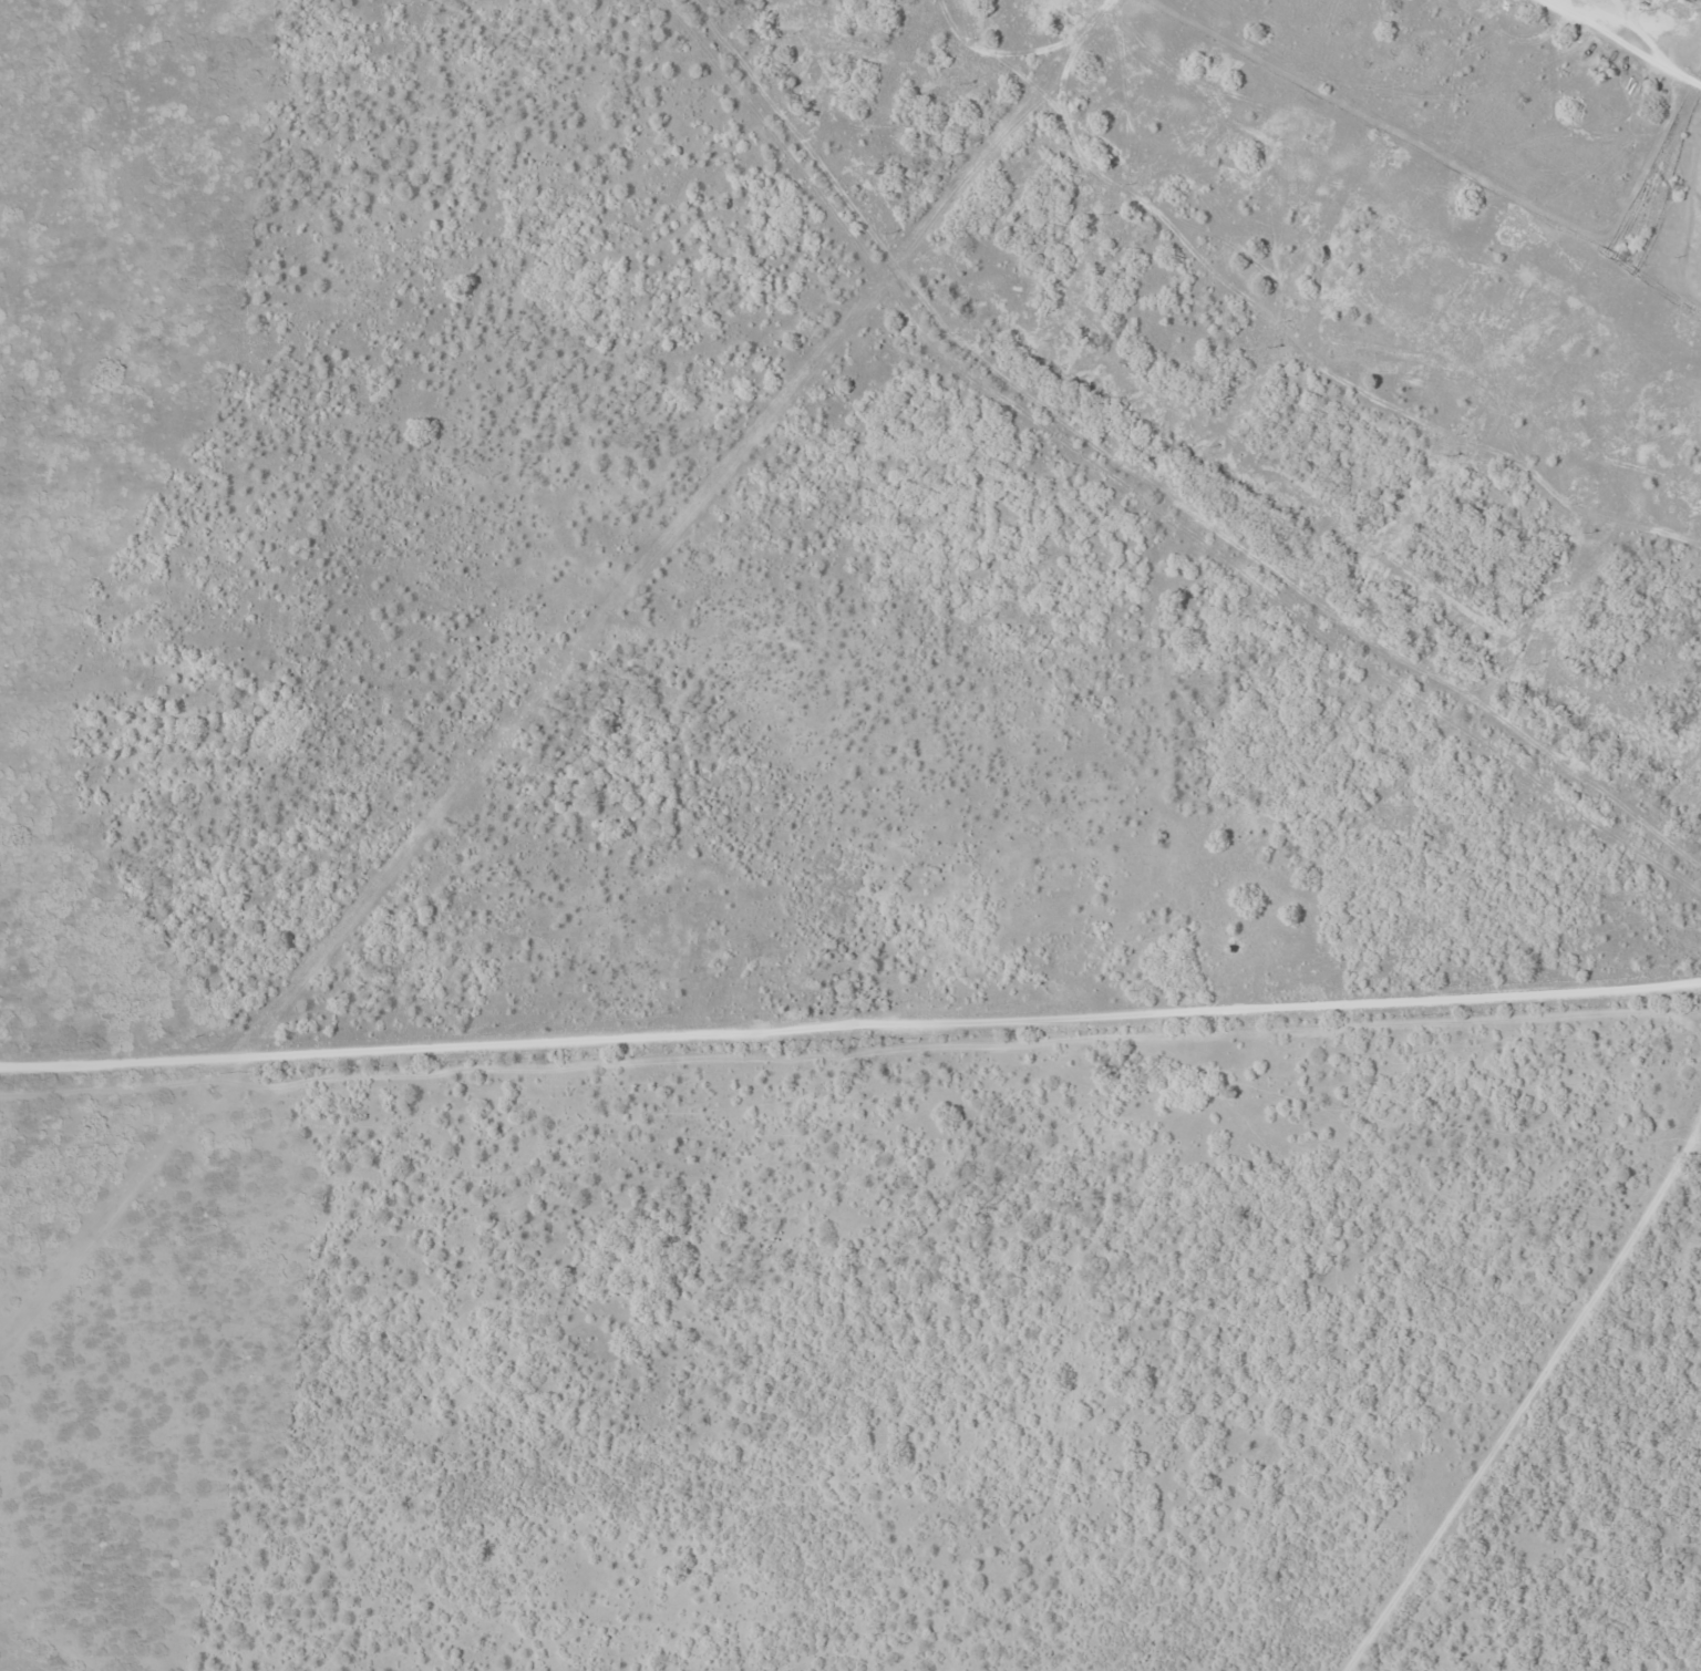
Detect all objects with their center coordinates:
road: (1168, 502)
road: (849, 1022)

